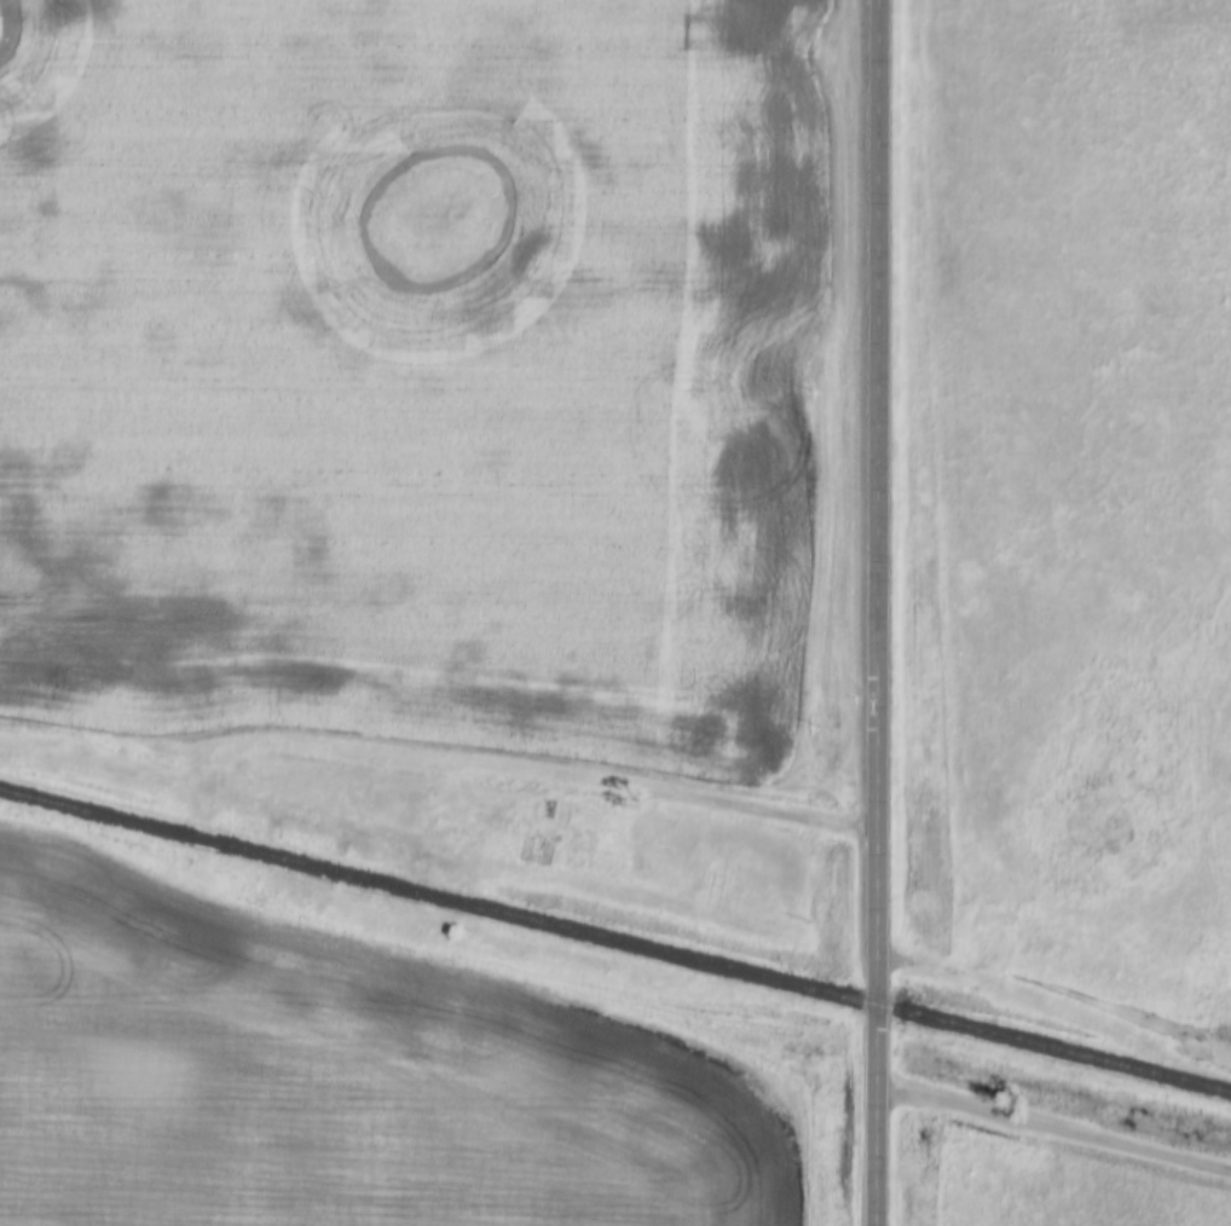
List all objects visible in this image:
road: (883, 613)
railway: (614, 942)
road: (1053, 1126)

